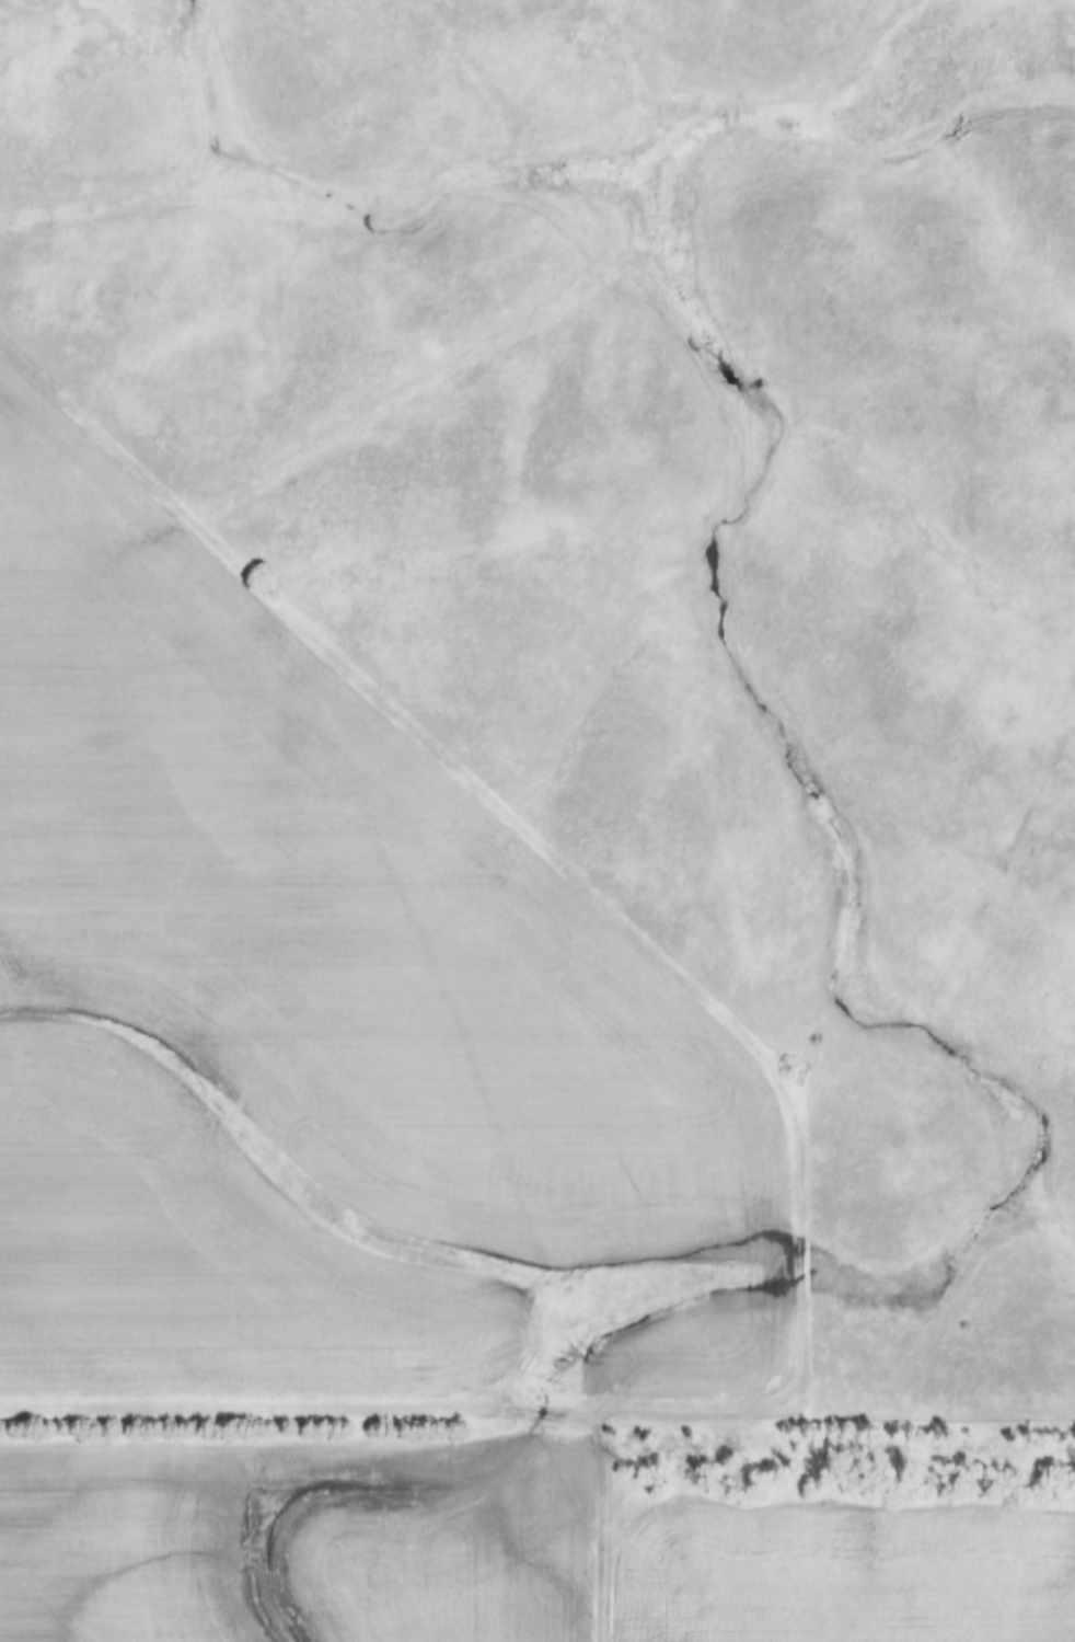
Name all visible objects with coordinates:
road: (291, 1444)
road: (587, 1539)

